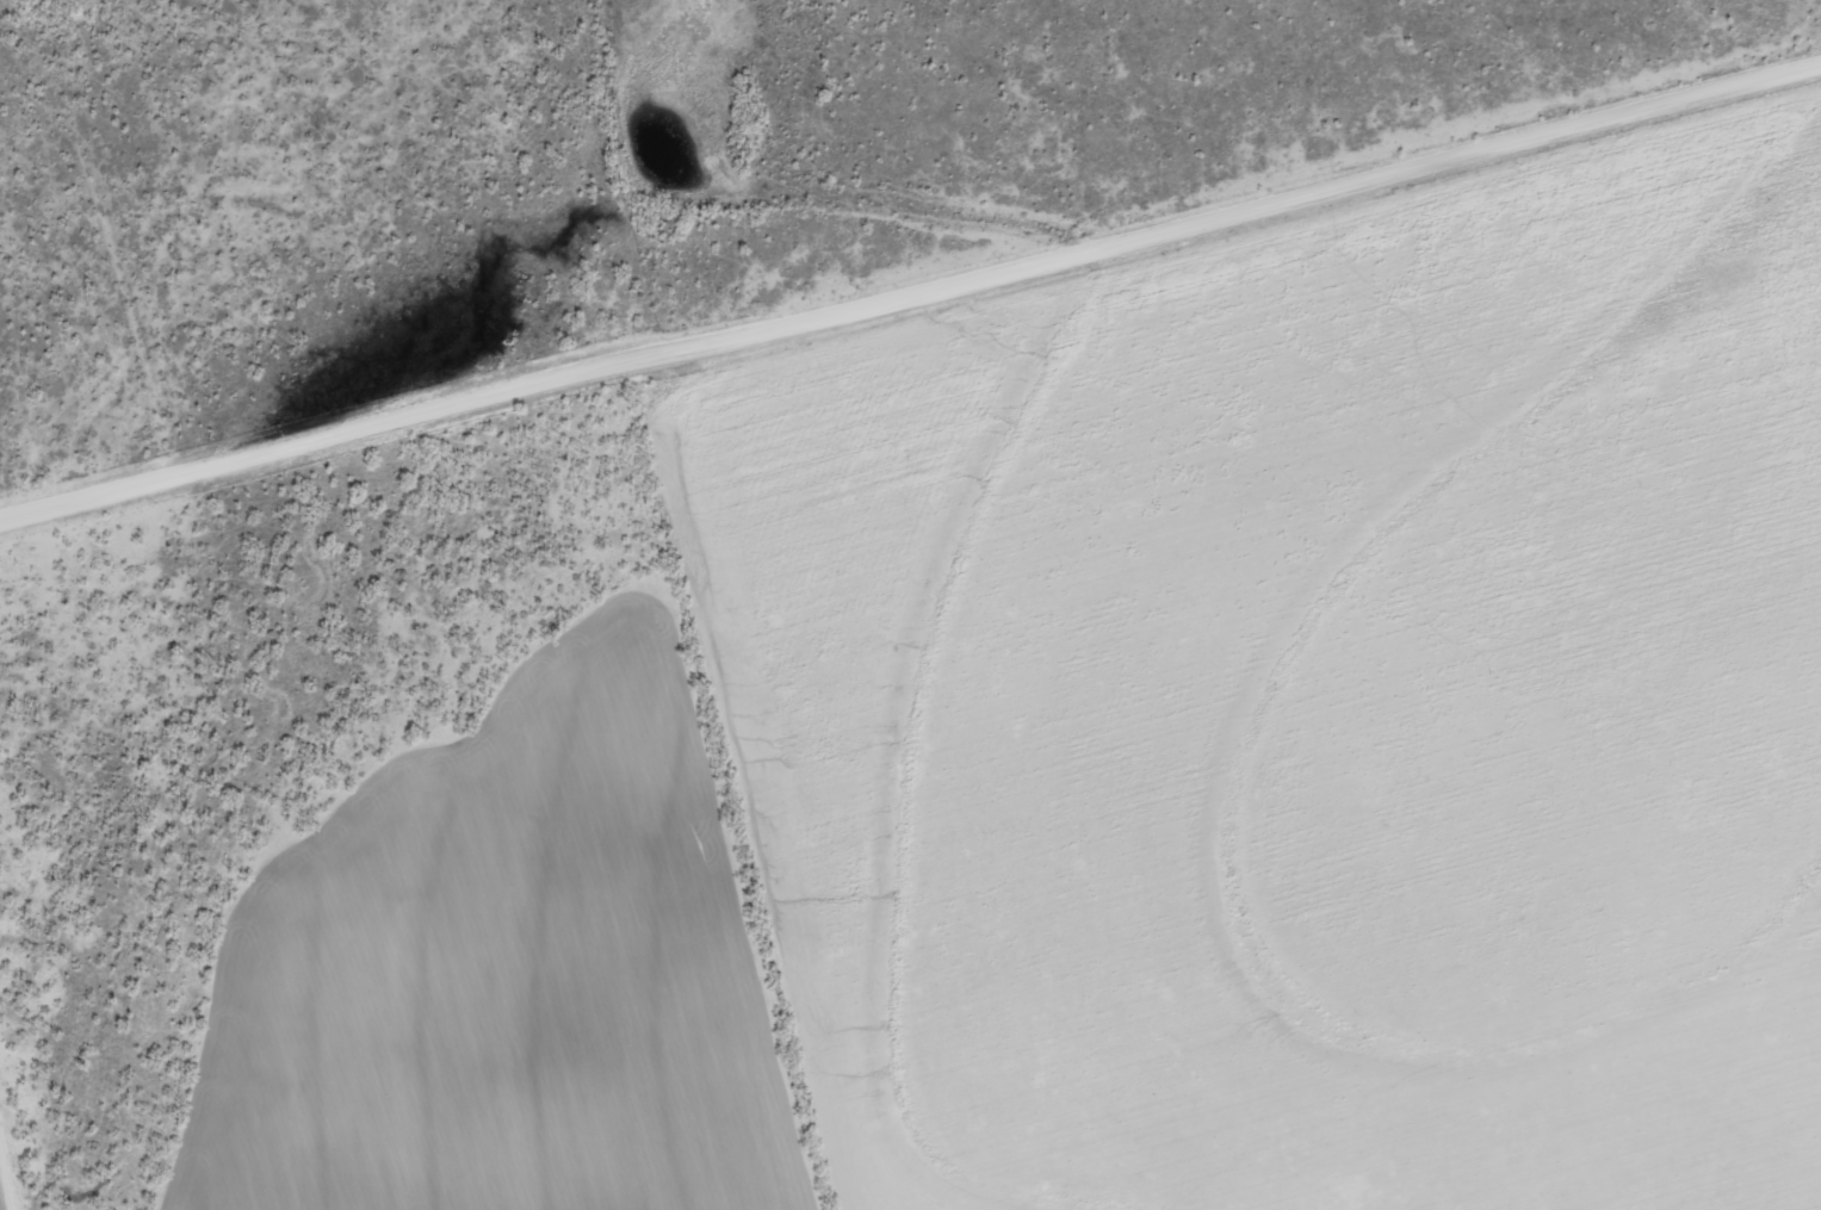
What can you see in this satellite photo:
road: (1257, 237)
road: (124, 308)
road: (343, 457)
road: (793, 792)

